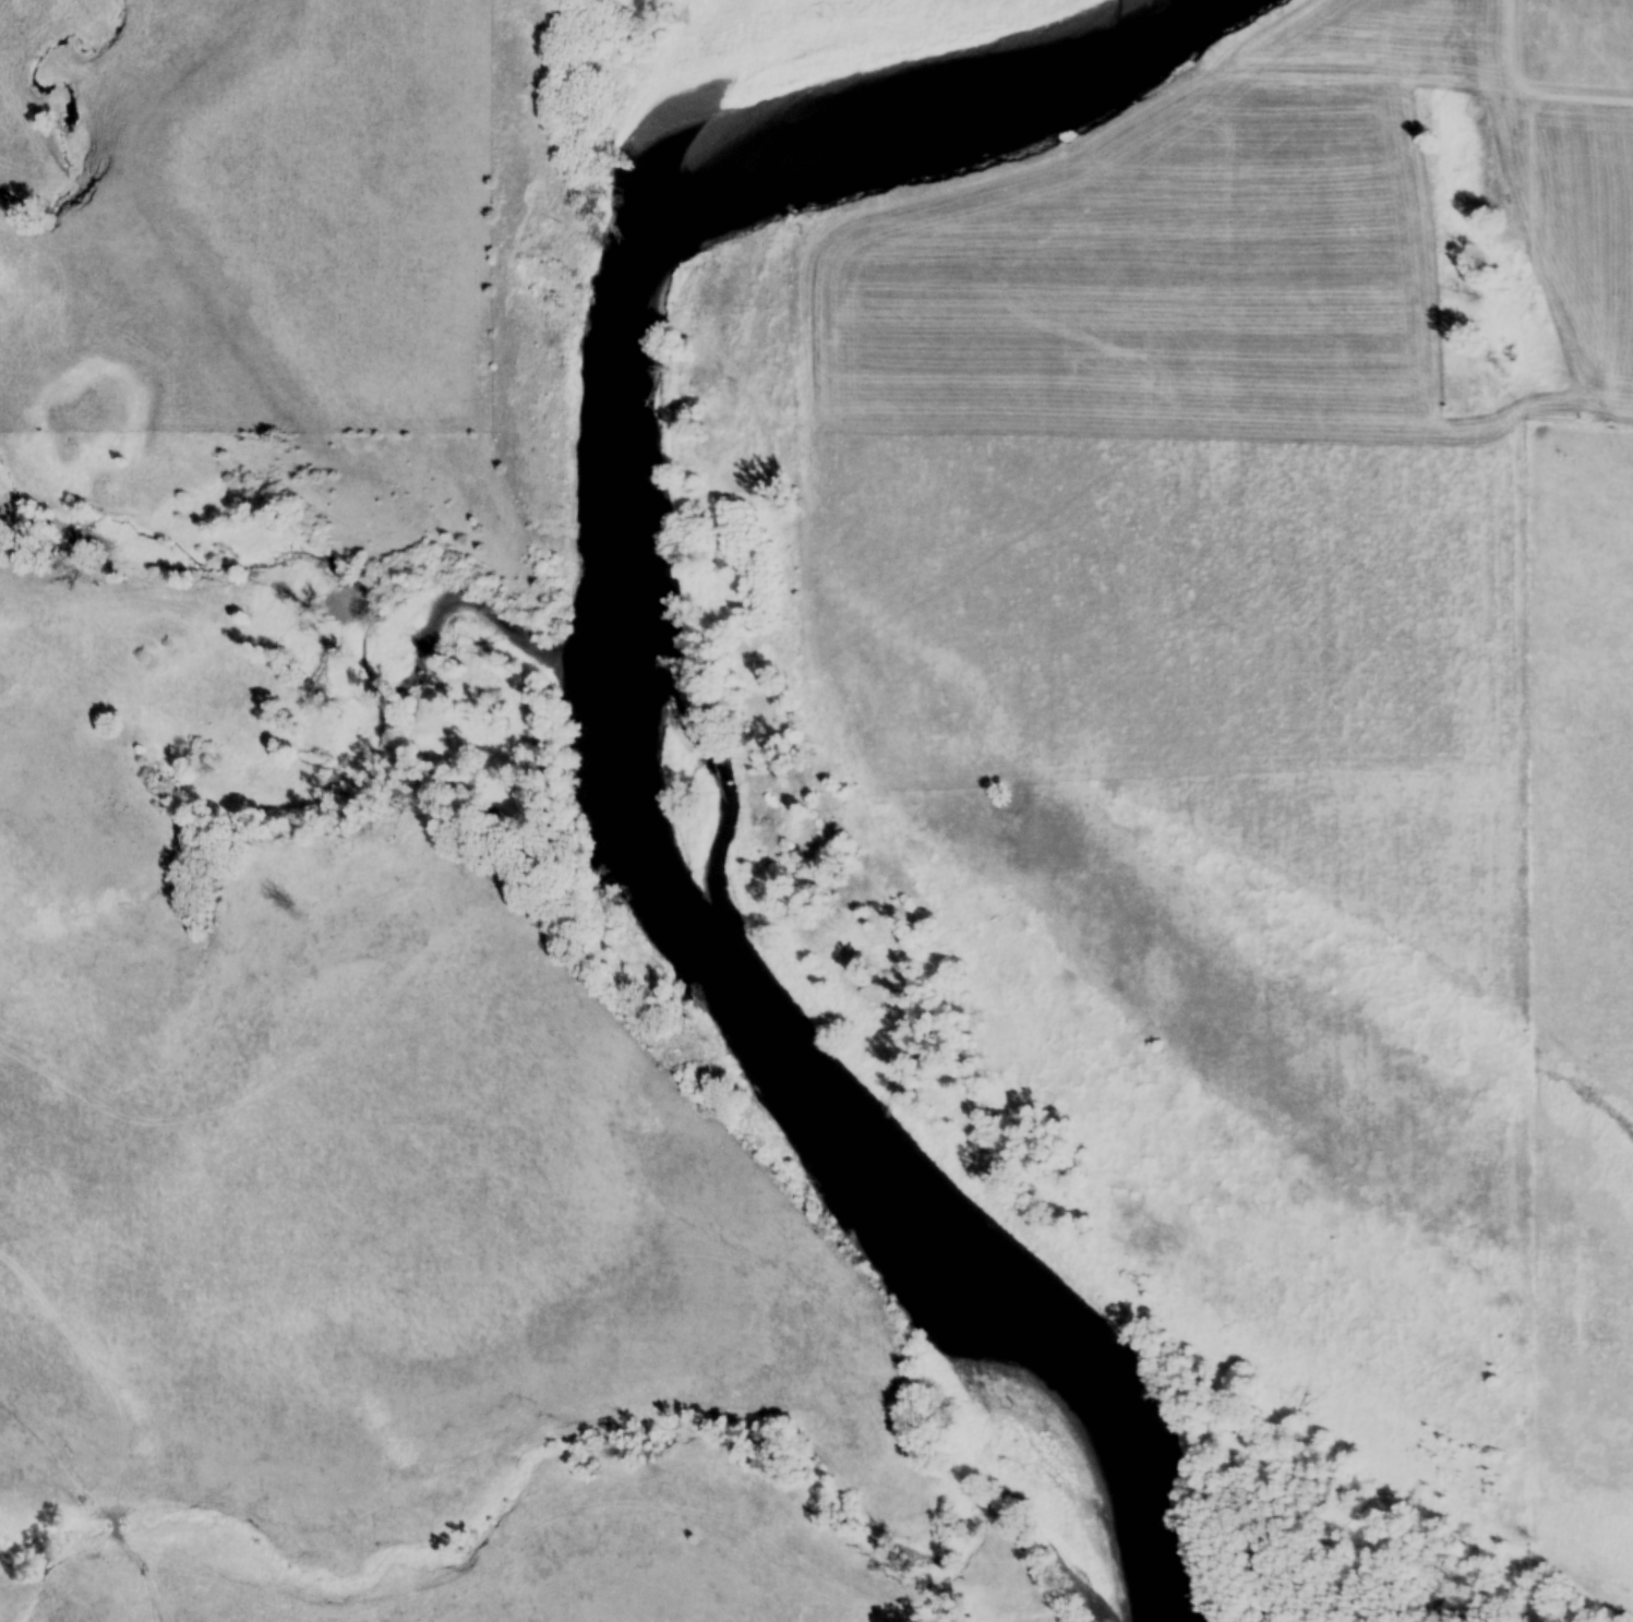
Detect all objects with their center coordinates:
river: (624, 716)

